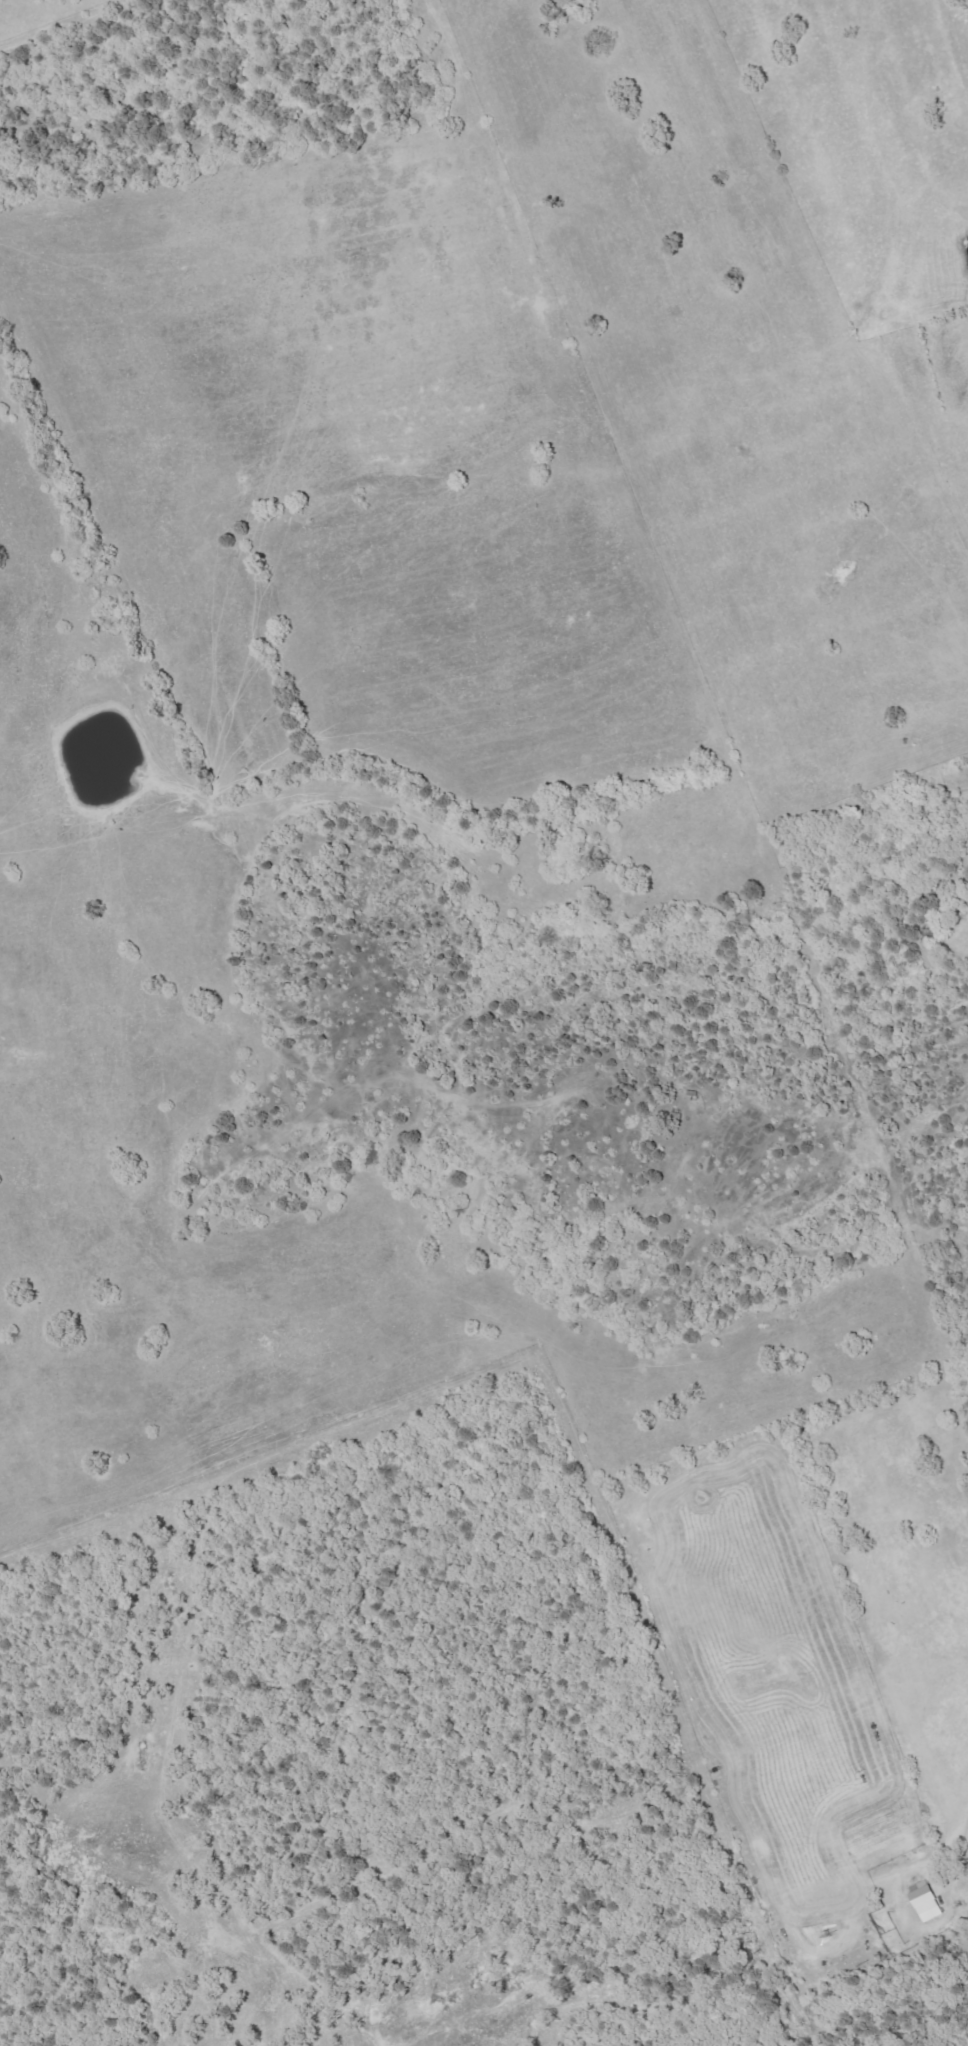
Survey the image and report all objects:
road: (956, 1831)
building: (927, 1903)

